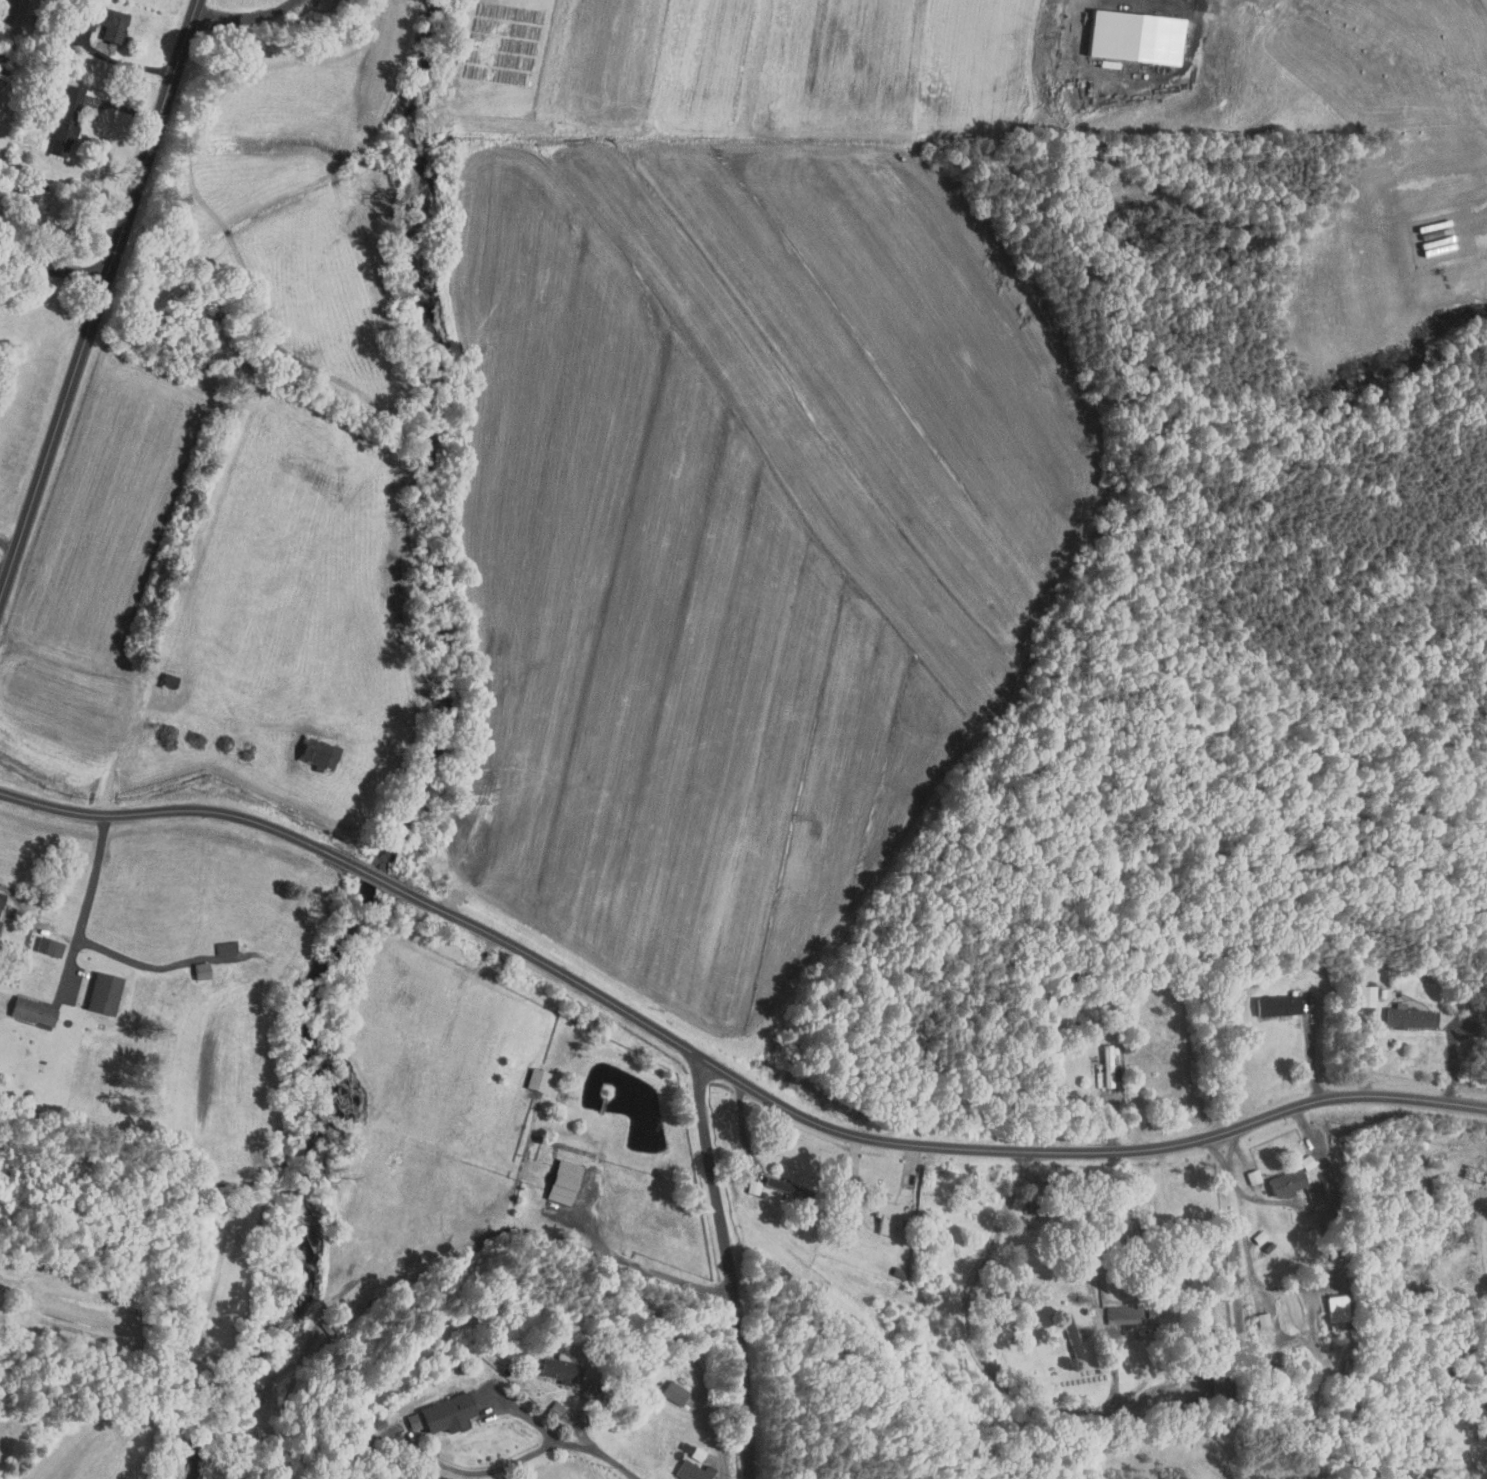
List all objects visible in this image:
building: (93, 17)
road: (246, 18)
building: (1126, 30)
road: (126, 63)
building: (55, 116)
road: (54, 268)
road: (99, 300)
road: (9, 541)
road: (4, 571)
building: (309, 748)
road: (90, 892)
road: (31, 930)
building: (39, 941)
building: (215, 941)
road: (132, 960)
building: (190, 965)
building: (92, 987)
building: (1356, 990)
building: (1268, 999)
building: (23, 1006)
building: (1400, 1011)
road: (1311, 1055)
building: (1098, 1060)
road: (722, 1070)
building: (527, 1073)
road: (743, 1128)
road: (1216, 1151)
building: (1243, 1170)
building: (840, 1174)
building: (553, 1175)
building: (1290, 1176)
building: (769, 1178)
building: (742, 1180)
building: (879, 1210)
road: (1079, 1210)
road: (1310, 1211)
road: (731, 1265)
road: (1279, 1286)
road: (645, 1305)
building: (1328, 1305)
building: (1252, 1312)
building: (1063, 1332)
building: (547, 1363)
building: (665, 1386)
building: (544, 1402)
building: (437, 1406)
building: (403, 1415)
building: (687, 1447)
road: (603, 1452)
road: (529, 1455)
building: (684, 1466)

